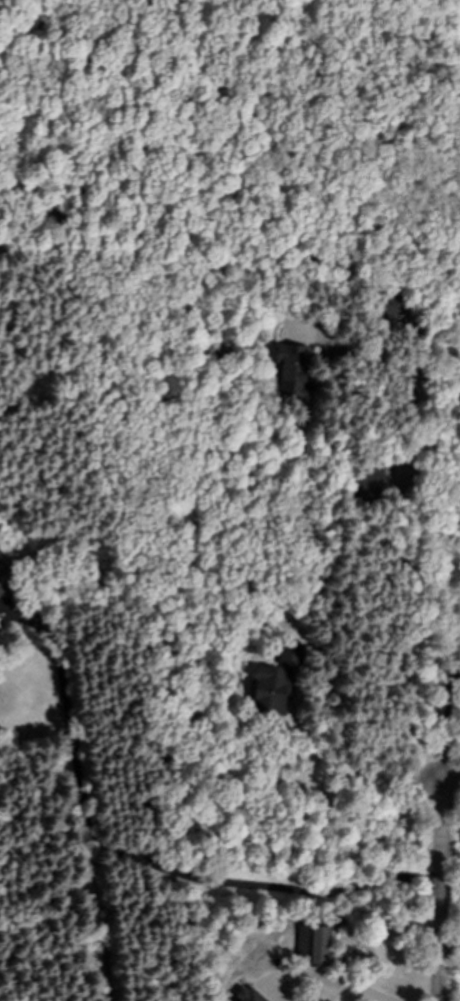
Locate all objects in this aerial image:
building: (292, 369)
building: (269, 689)
road: (447, 771)
road: (140, 860)
road: (438, 886)
road: (449, 937)
building: (314, 943)
road: (358, 989)
building: (247, 995)

